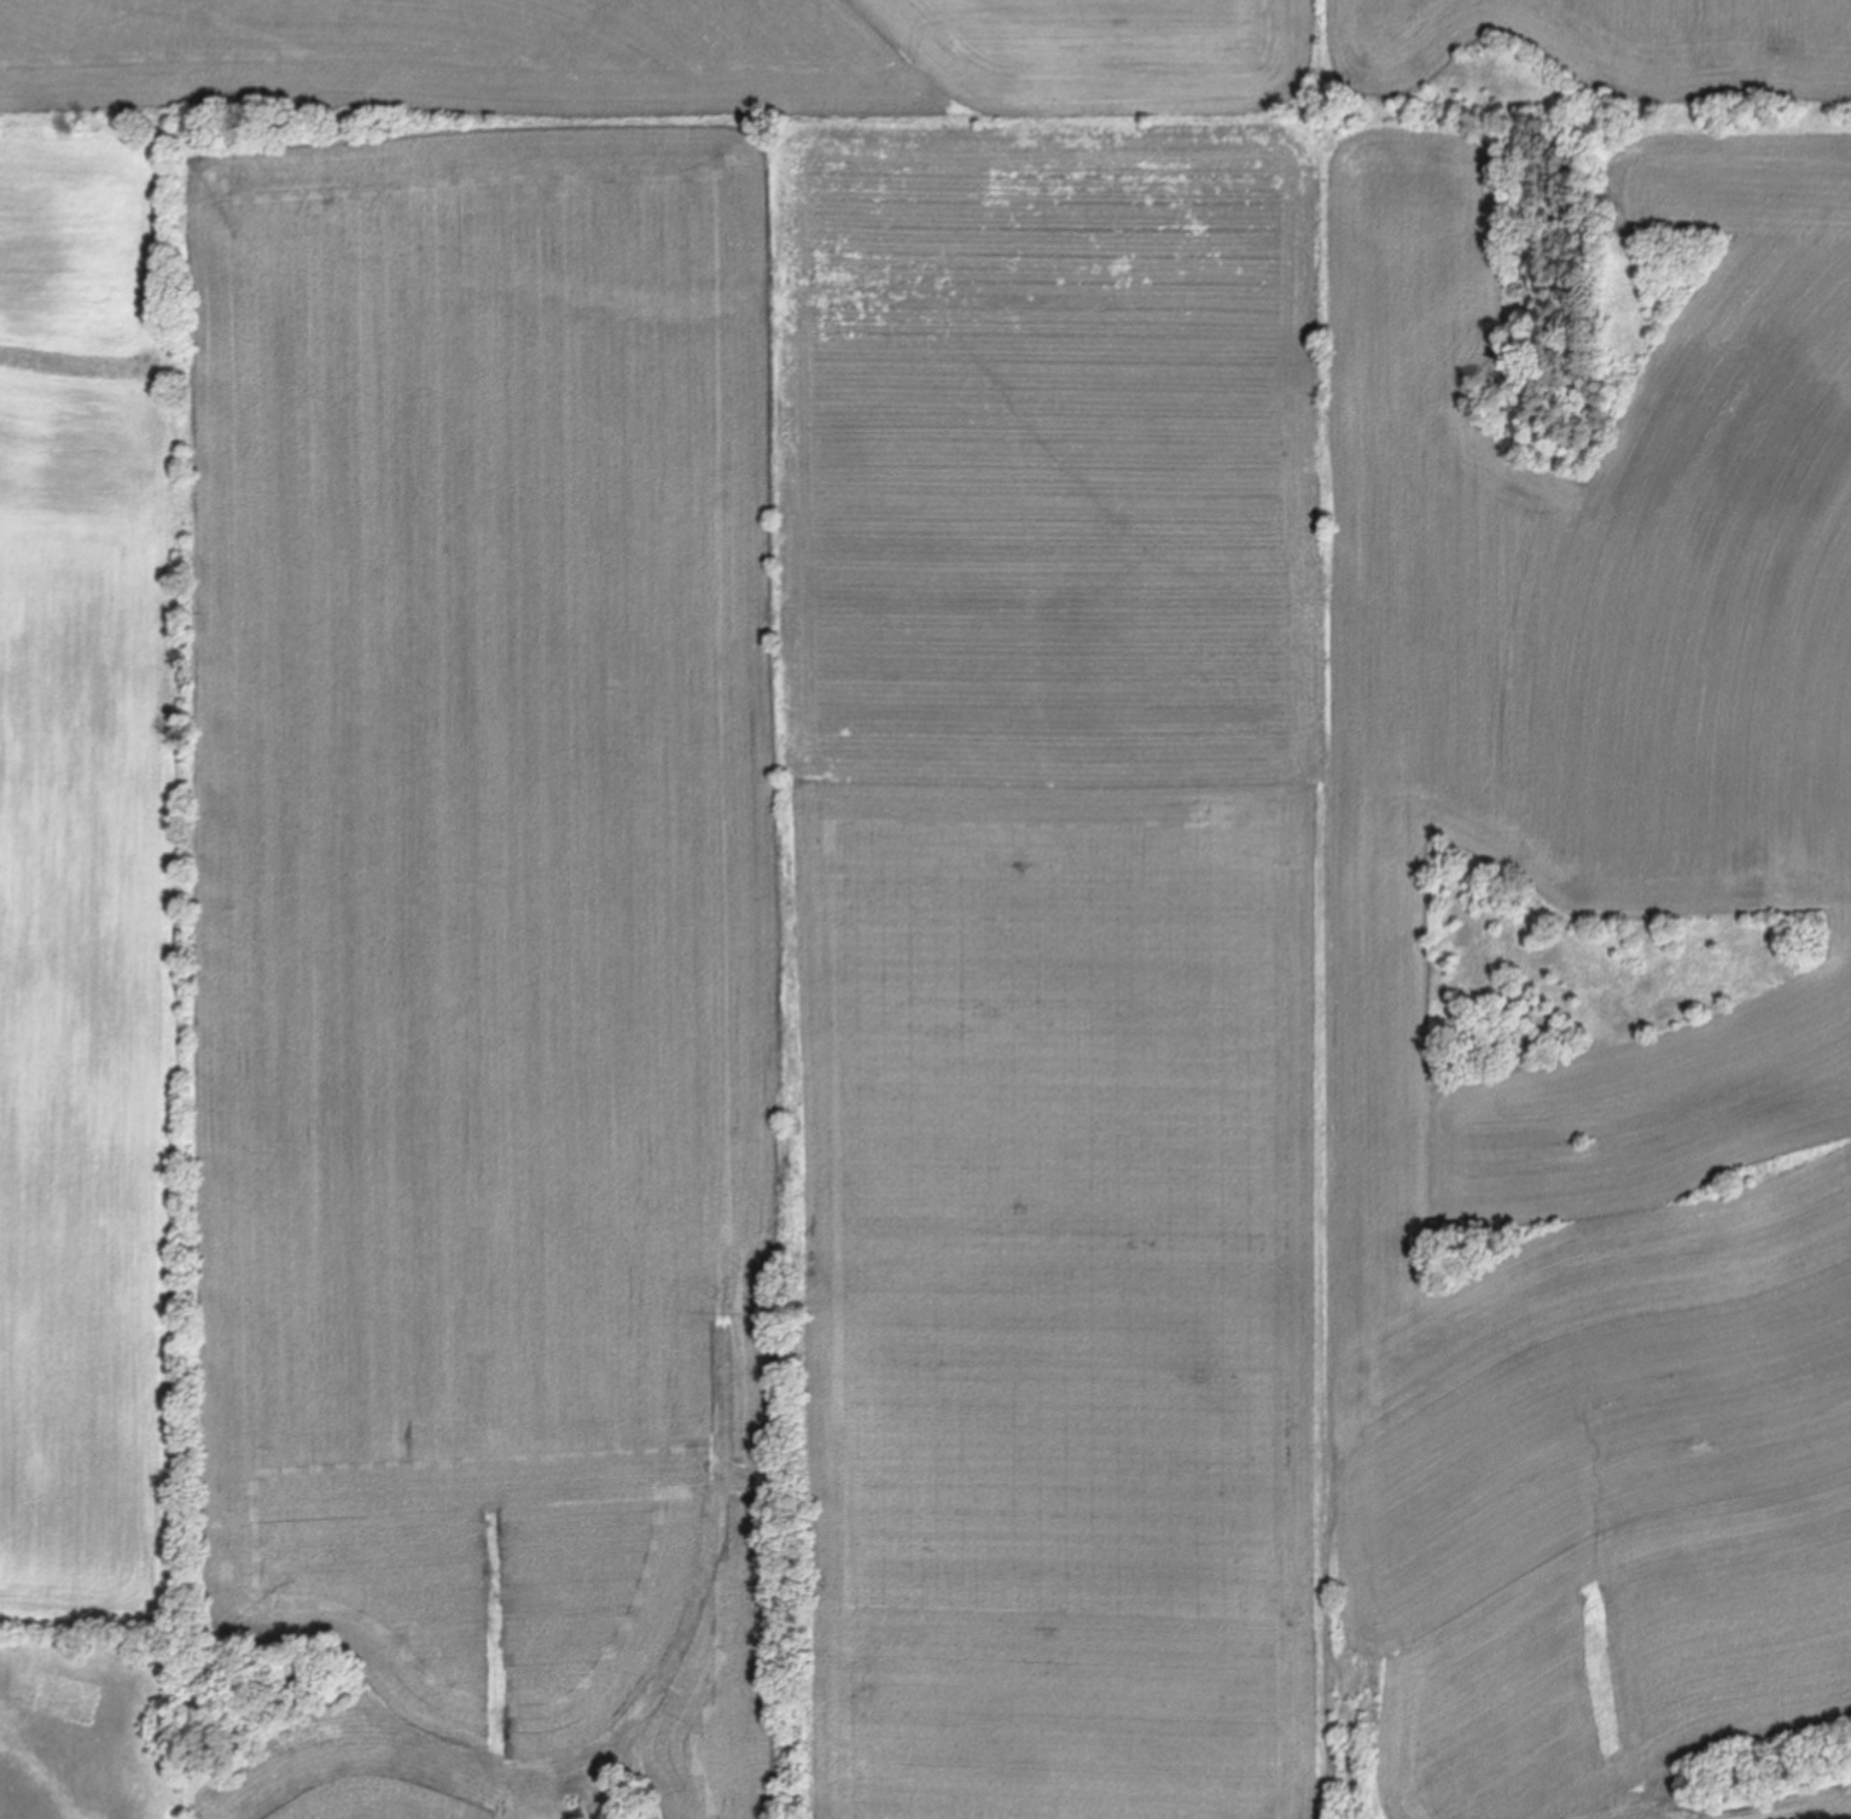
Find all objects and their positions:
crop: (925, 909)

